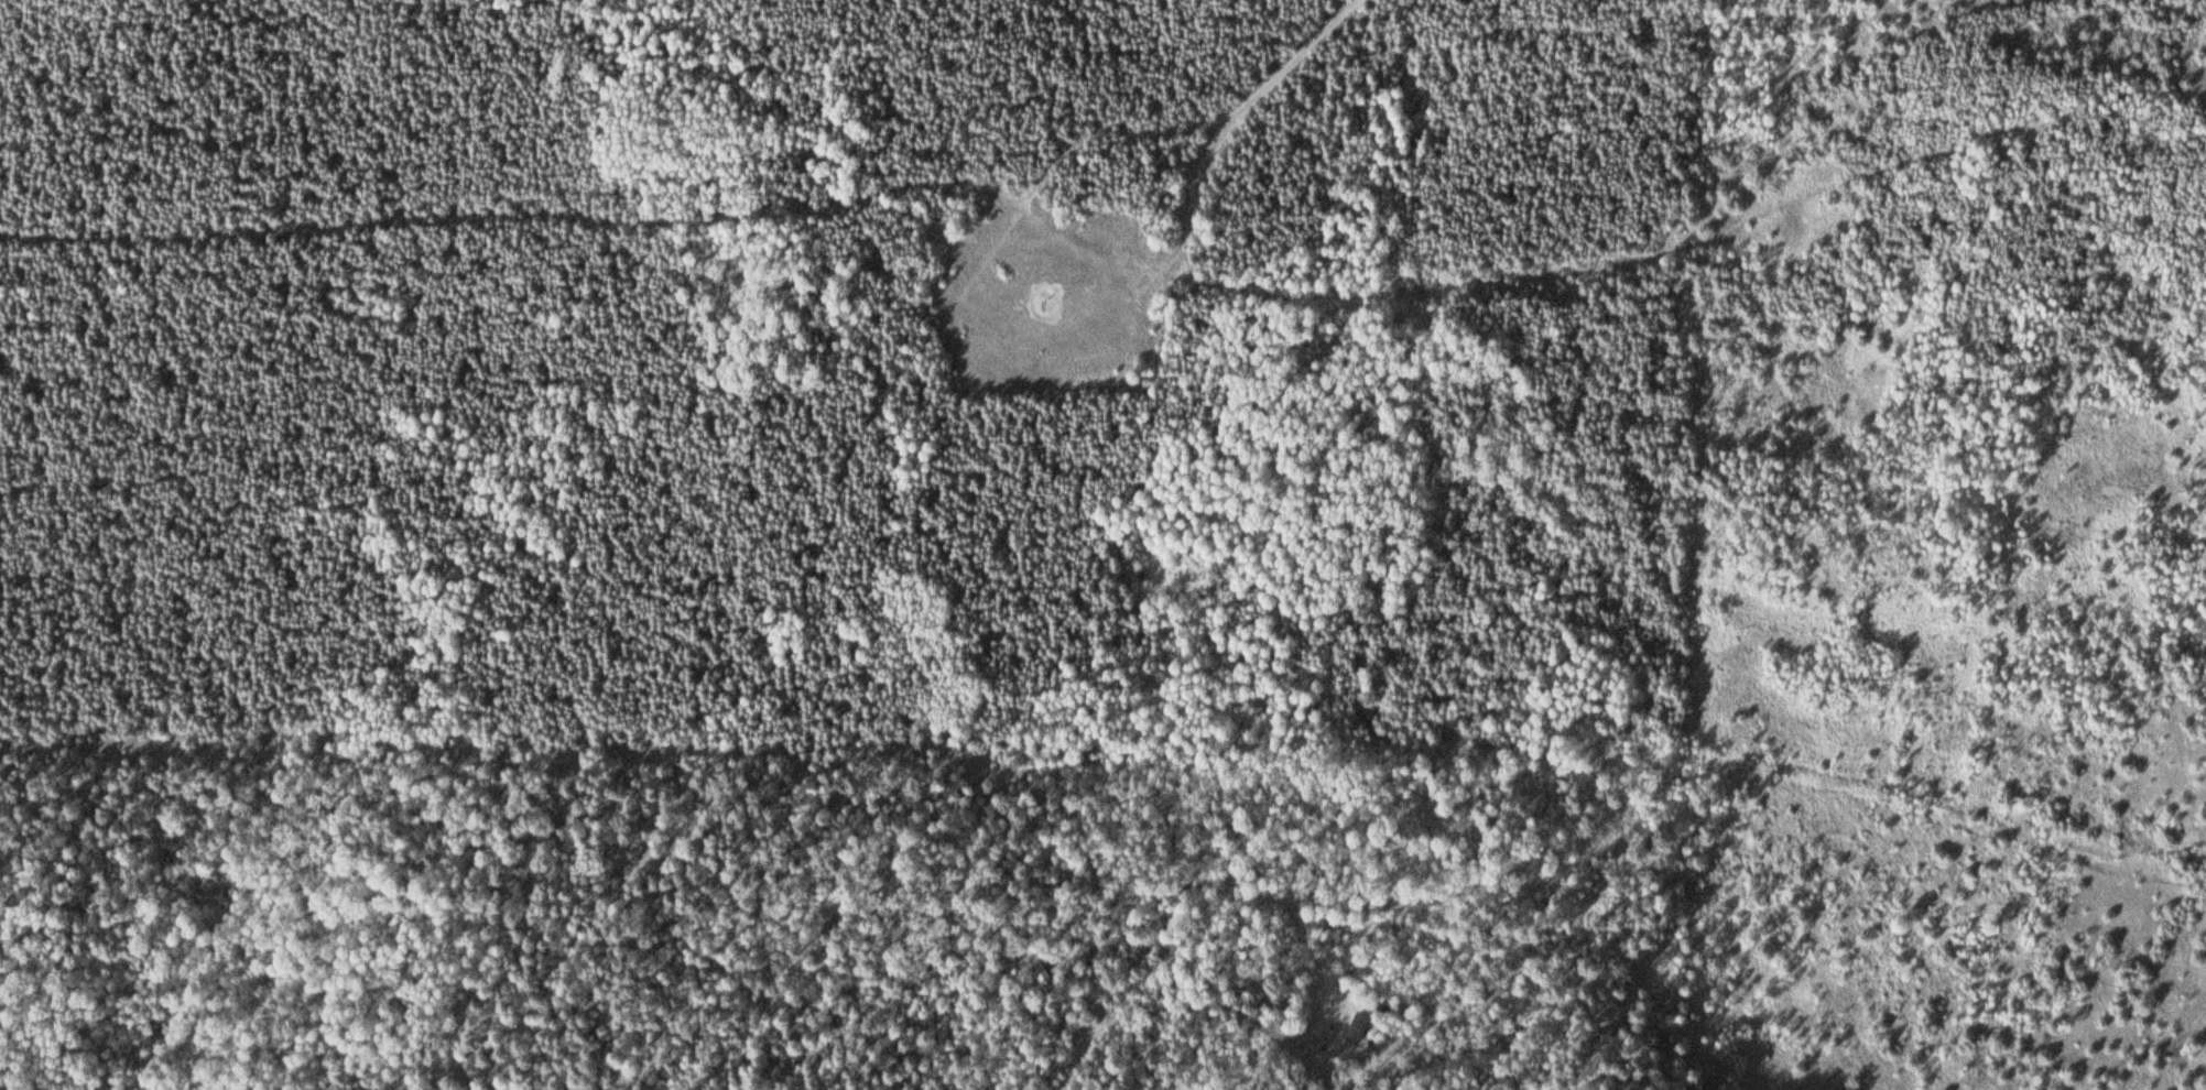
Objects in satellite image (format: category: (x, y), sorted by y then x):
road: (1099, 128)
road: (510, 210)
road: (1610, 263)
road: (967, 752)
road: (1147, 972)
building: (1356, 1027)

